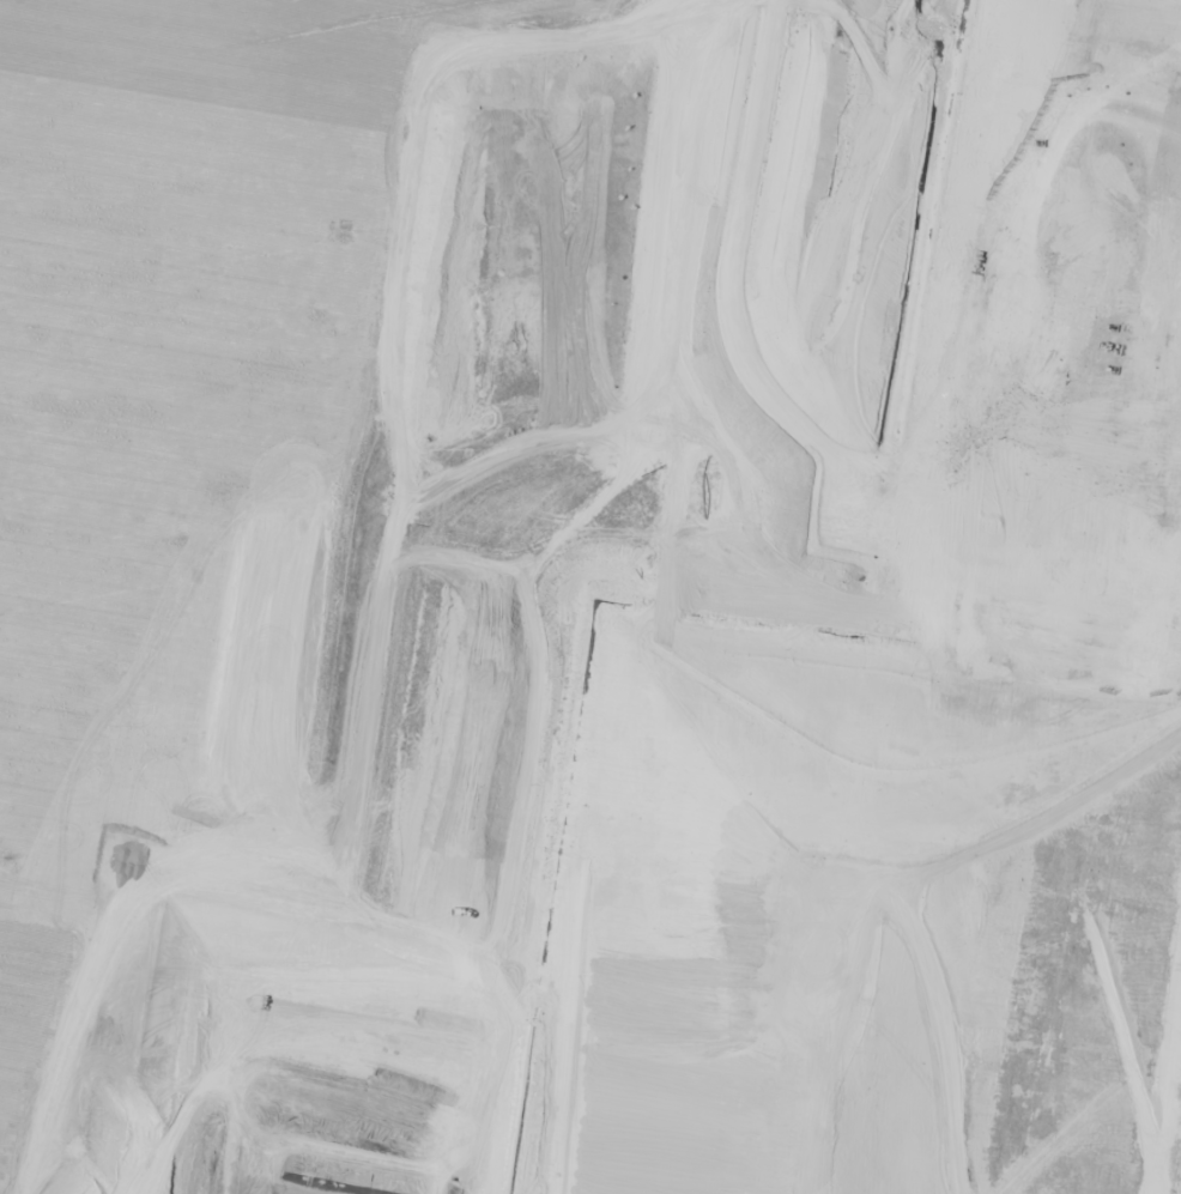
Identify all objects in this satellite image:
landfill: (590, 596)

